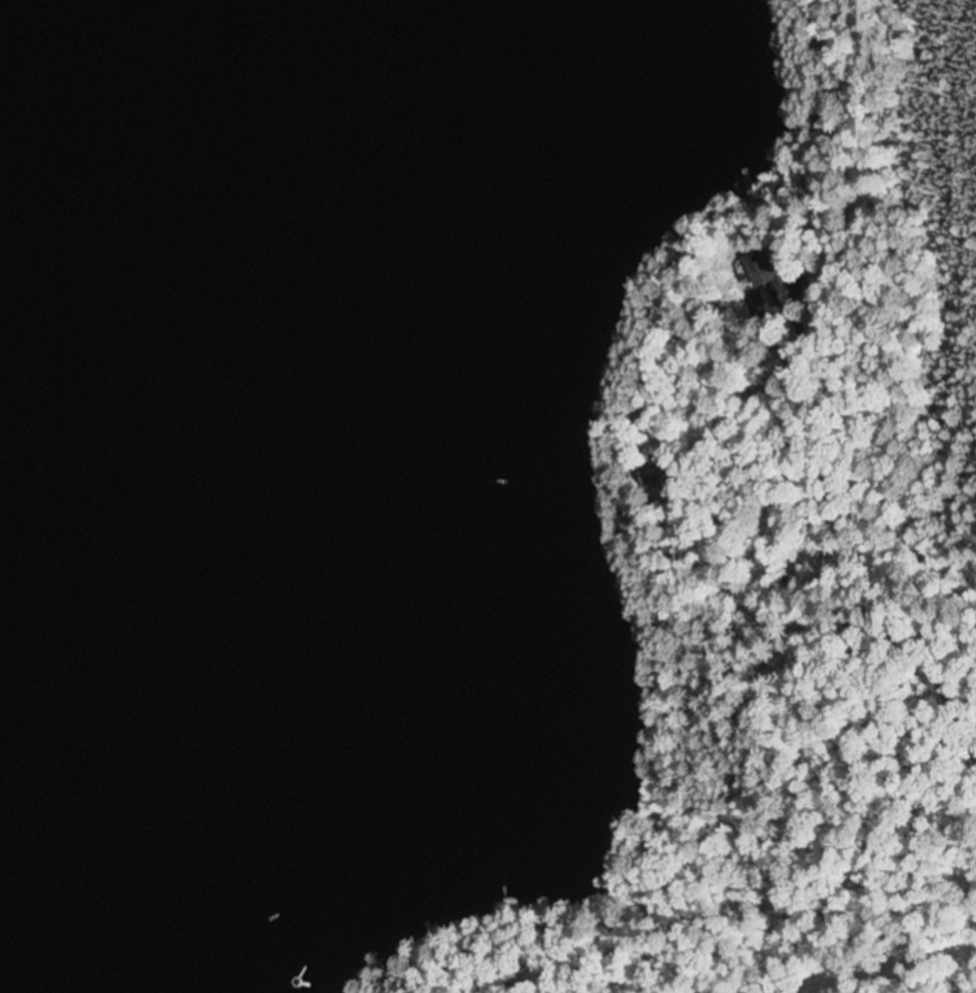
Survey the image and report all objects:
building: (778, 275)
road: (783, 712)

